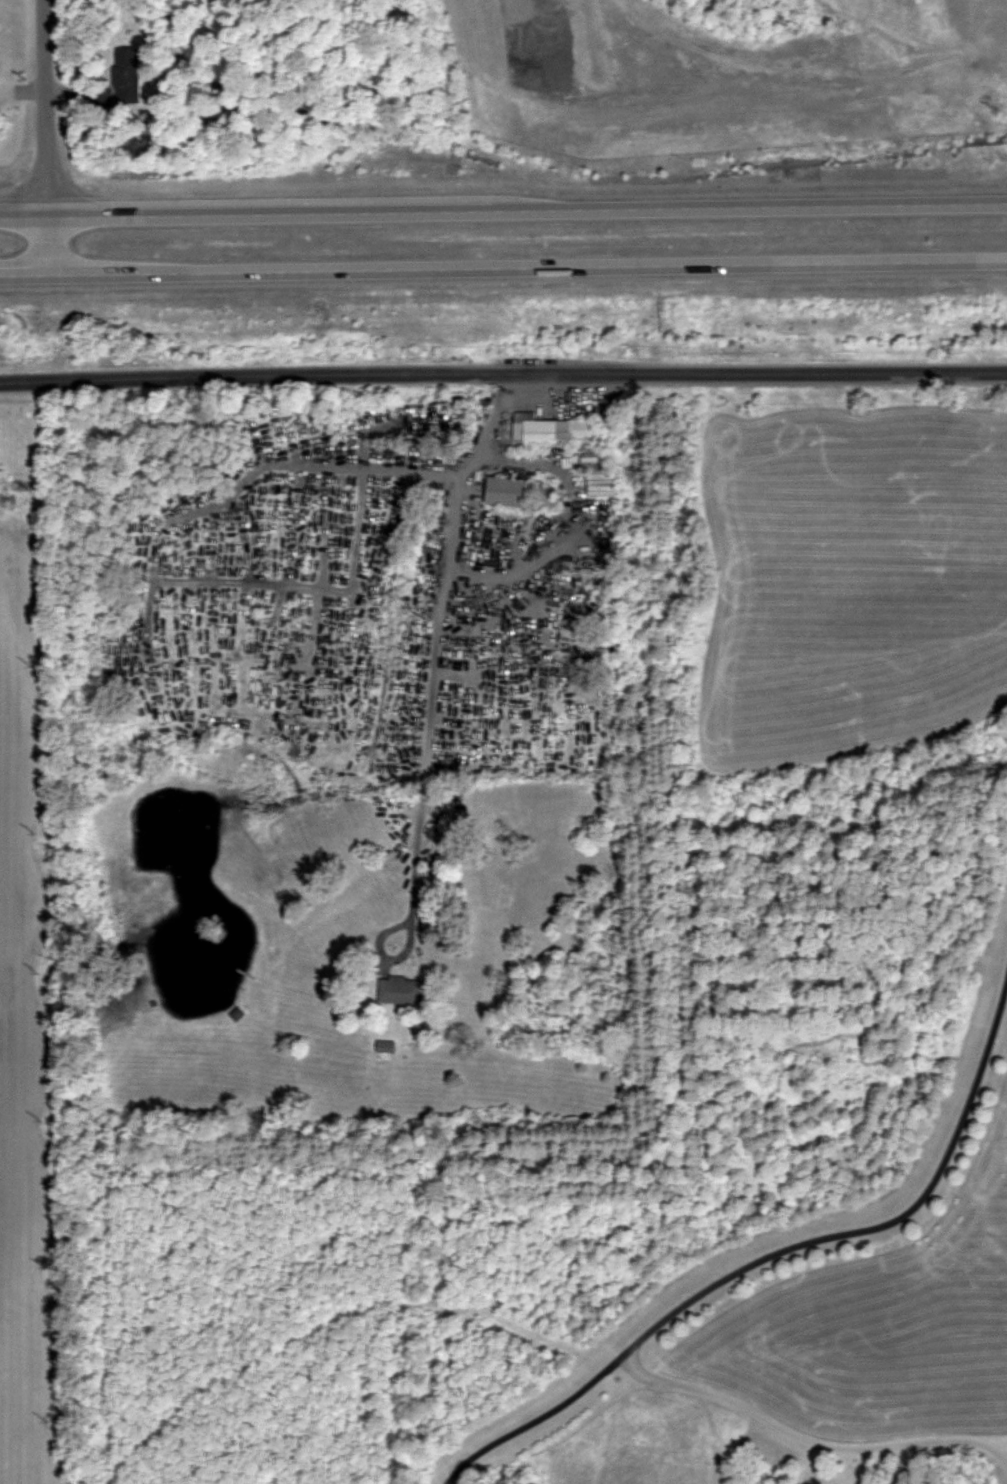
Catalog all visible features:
road: (539, 31)
road: (770, 67)
building: (128, 78)
road: (47, 106)
road: (503, 204)
road: (51, 243)
road: (503, 269)
road: (503, 370)
building: (553, 429)
building: (506, 492)
road: (572, 505)
road: (173, 522)
road: (387, 526)
road: (442, 560)
road: (469, 582)
road: (297, 586)
road: (281, 591)
road: (214, 610)
road: (190, 616)
road: (516, 621)
road: (169, 624)
road: (567, 658)
road: (536, 710)
road: (467, 712)
road: (504, 712)
road: (567, 712)
road: (602, 712)
road: (209, 715)
road: (353, 731)
road: (398, 748)
road: (515, 765)
road: (412, 900)
building: (400, 990)
road: (879, 1234)
road: (712, 1397)

